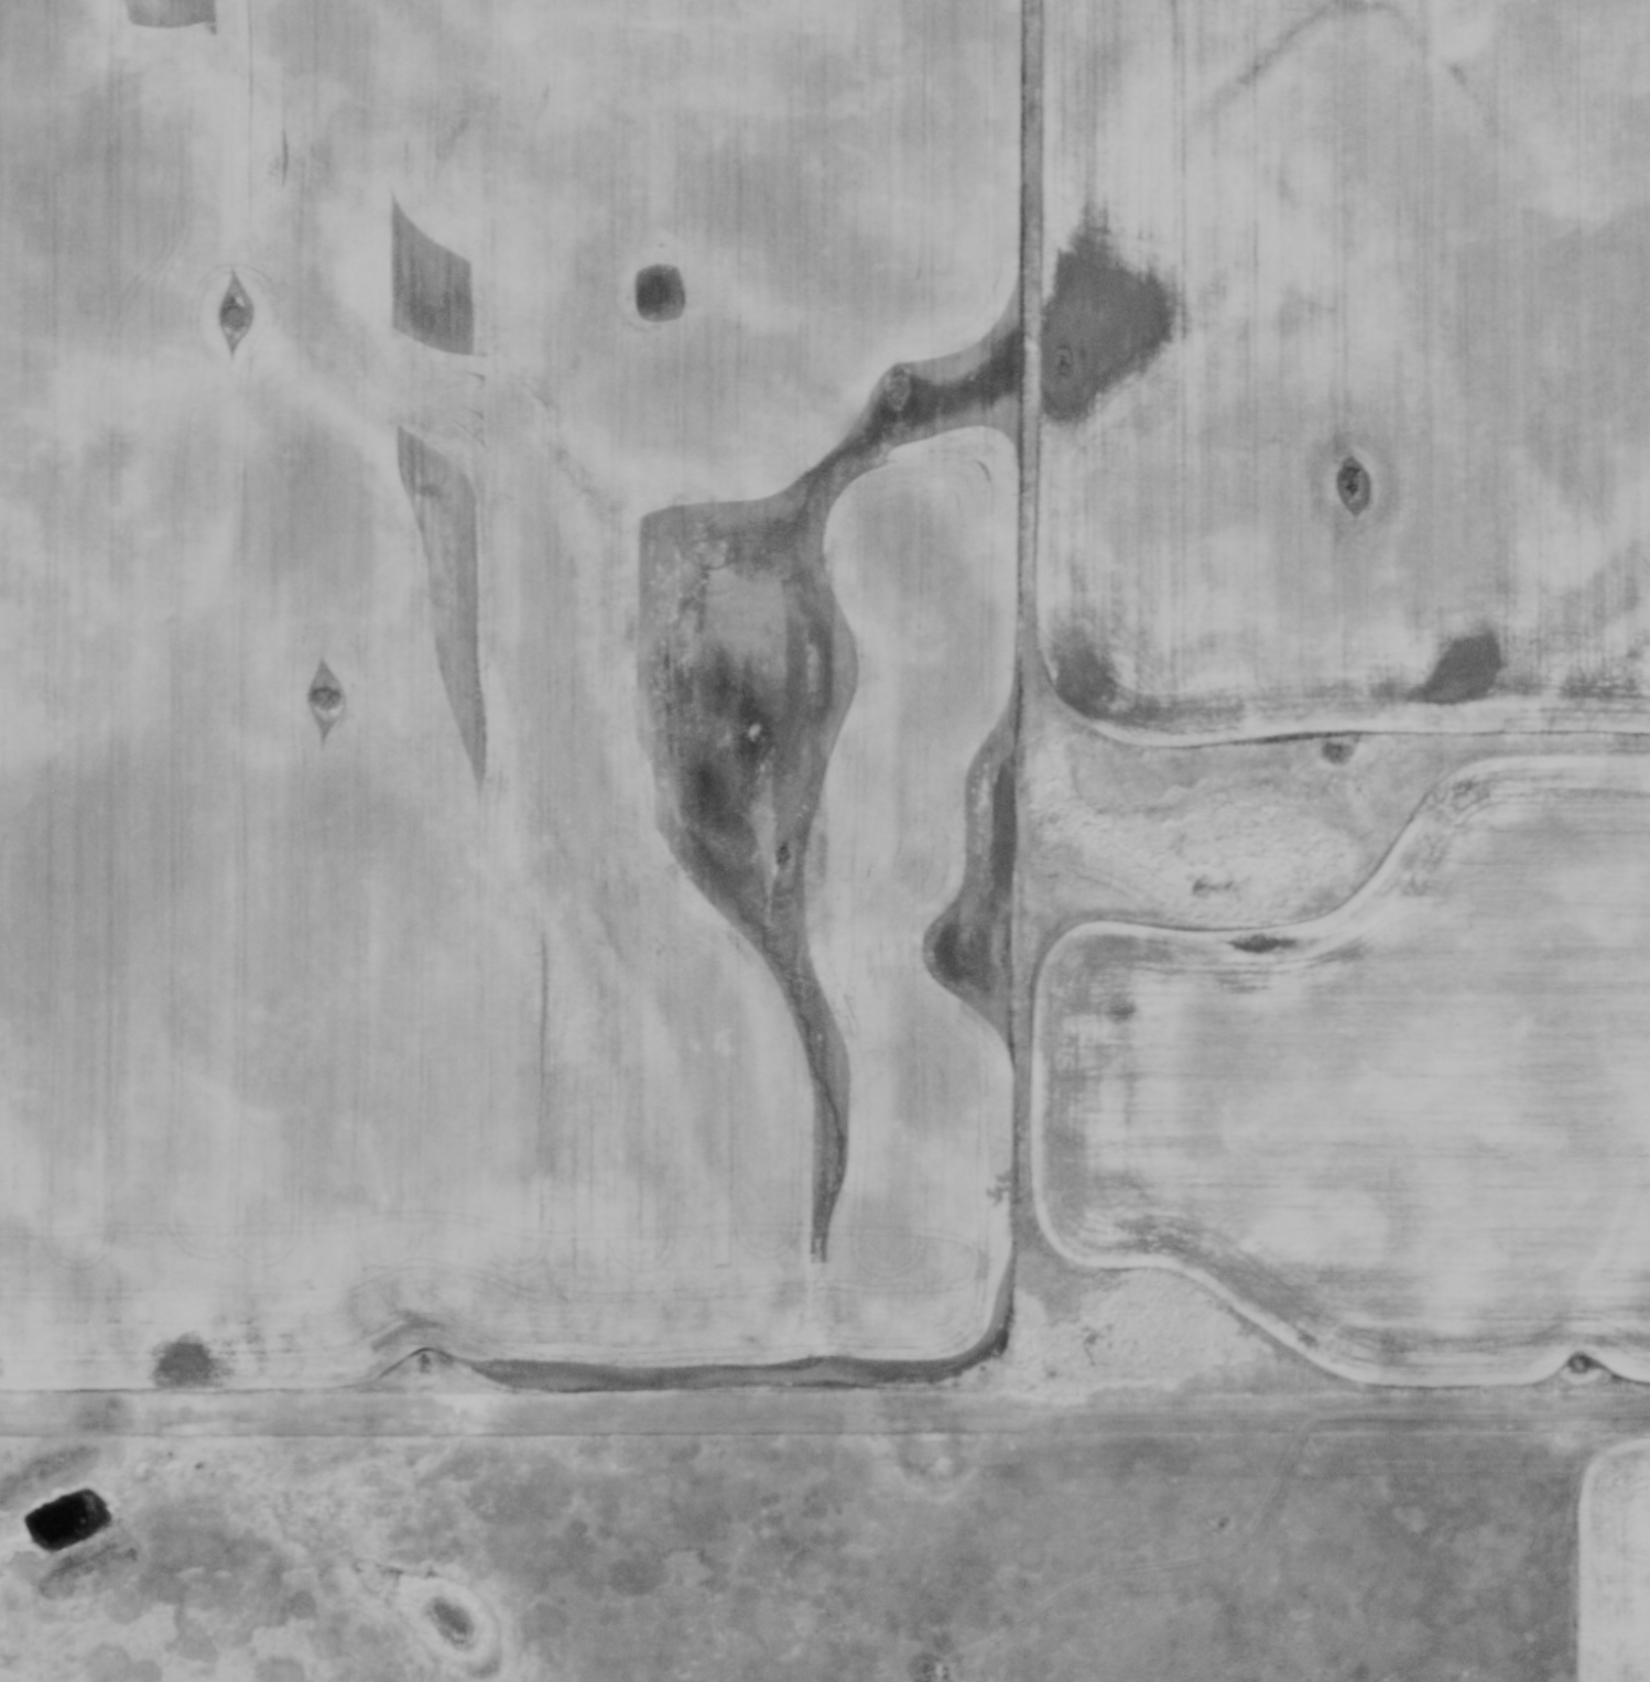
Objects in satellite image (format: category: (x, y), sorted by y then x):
road: (825, 1411)
road: (22, 1453)

